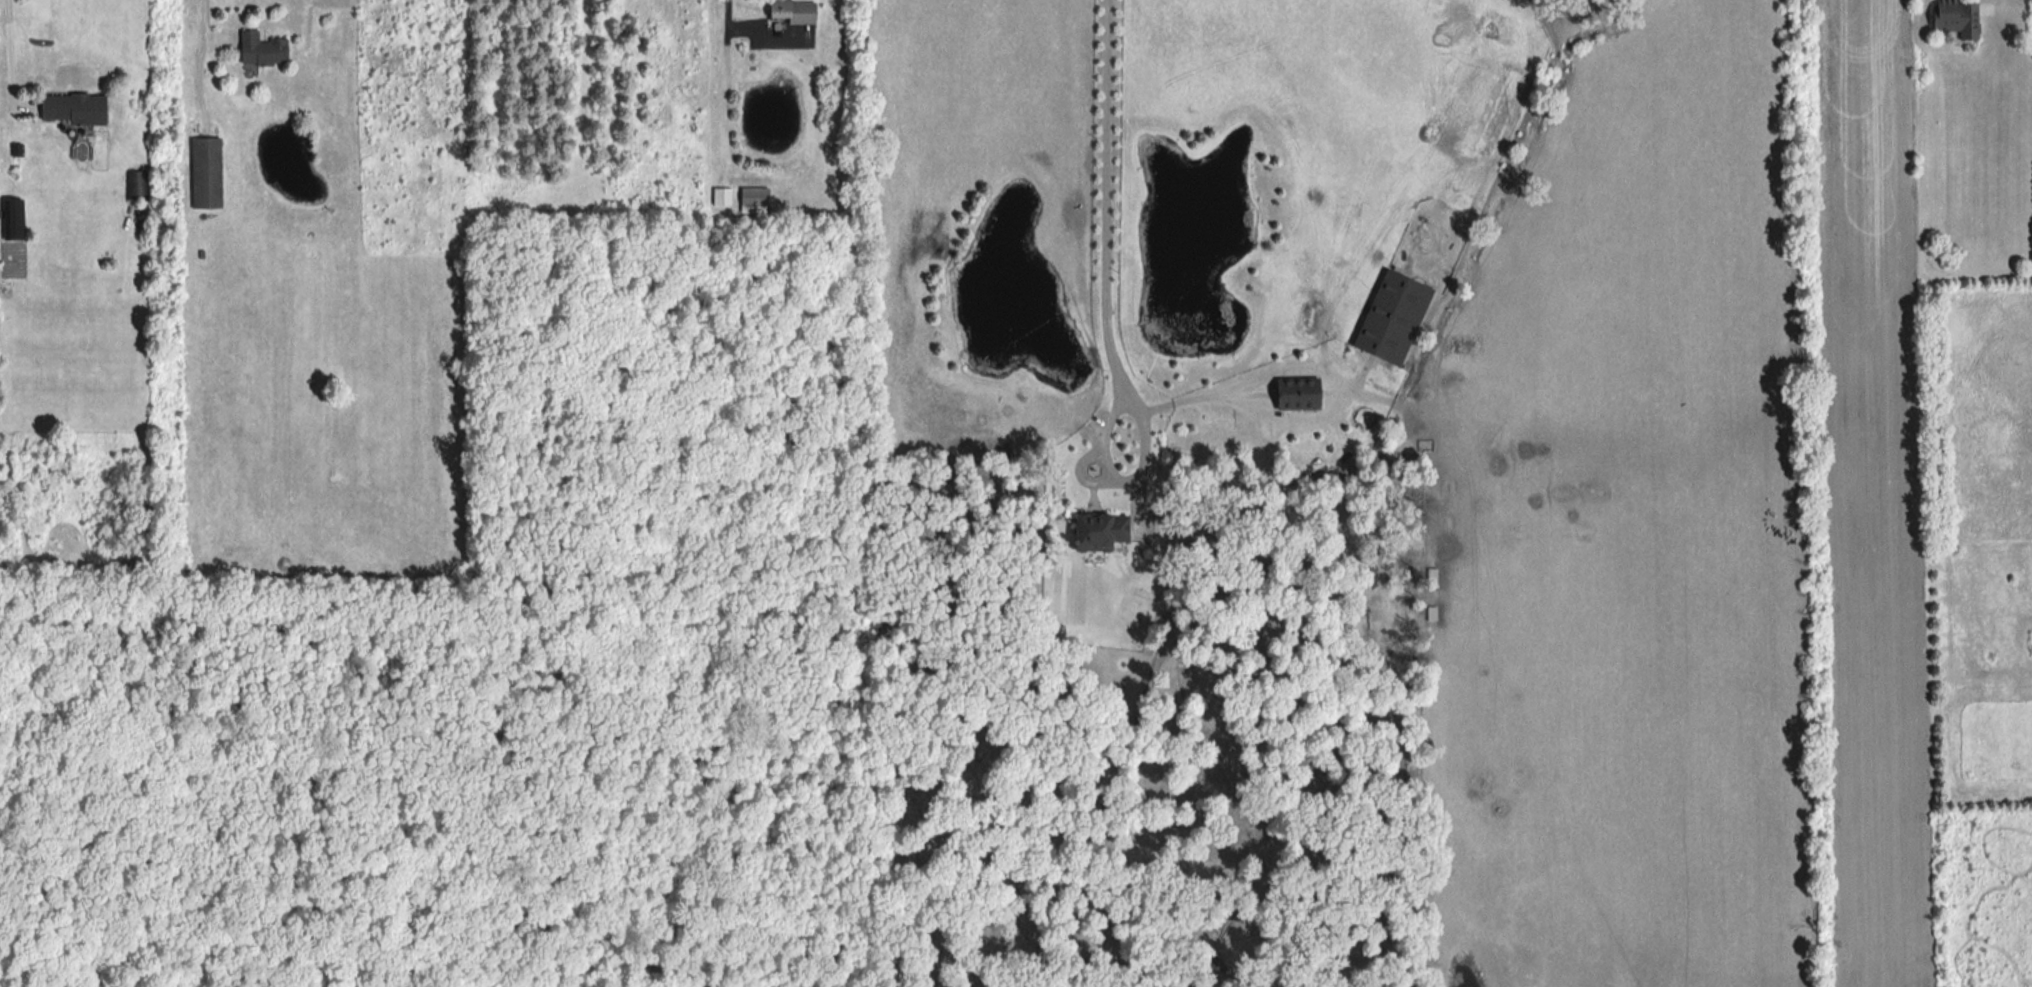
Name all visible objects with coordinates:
road: (2001, 1)
building: (8, 10)
building: (788, 12)
road: (205, 17)
building: (1951, 17)
road: (750, 34)
road: (11, 48)
building: (257, 48)
building: (74, 107)
building: (202, 173)
building: (723, 198)
road: (1111, 200)
building: (757, 201)
building: (1387, 318)
road: (1113, 468)
road: (1108, 487)
building: (1098, 534)
crop: (1888, 551)
building: (1142, 610)

